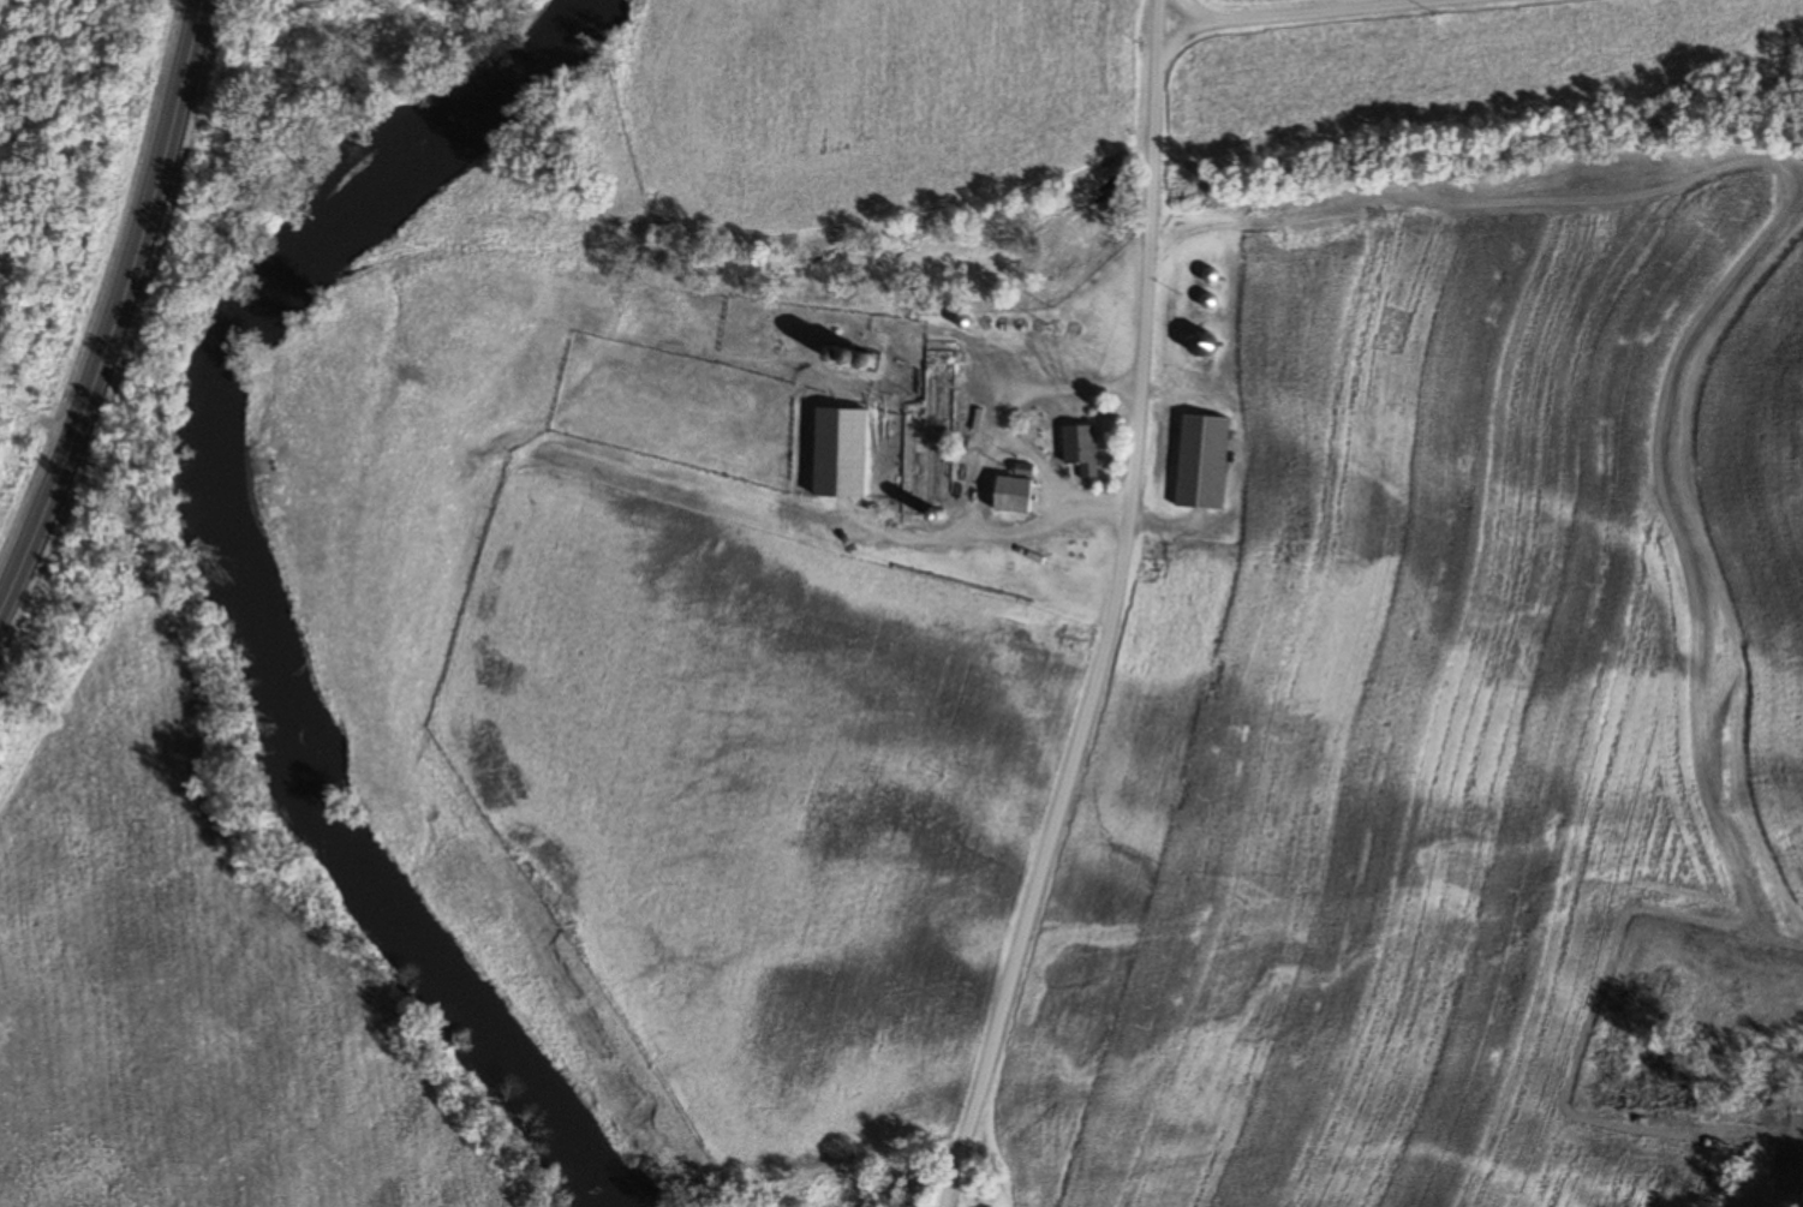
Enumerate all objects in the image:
road: (1283, 12)
road: (119, 307)
building: (1200, 343)
building: (1080, 449)
building: (838, 453)
building: (1200, 462)
building: (1010, 495)
river: (238, 581)
road: (1106, 610)
road: (942, 1203)

